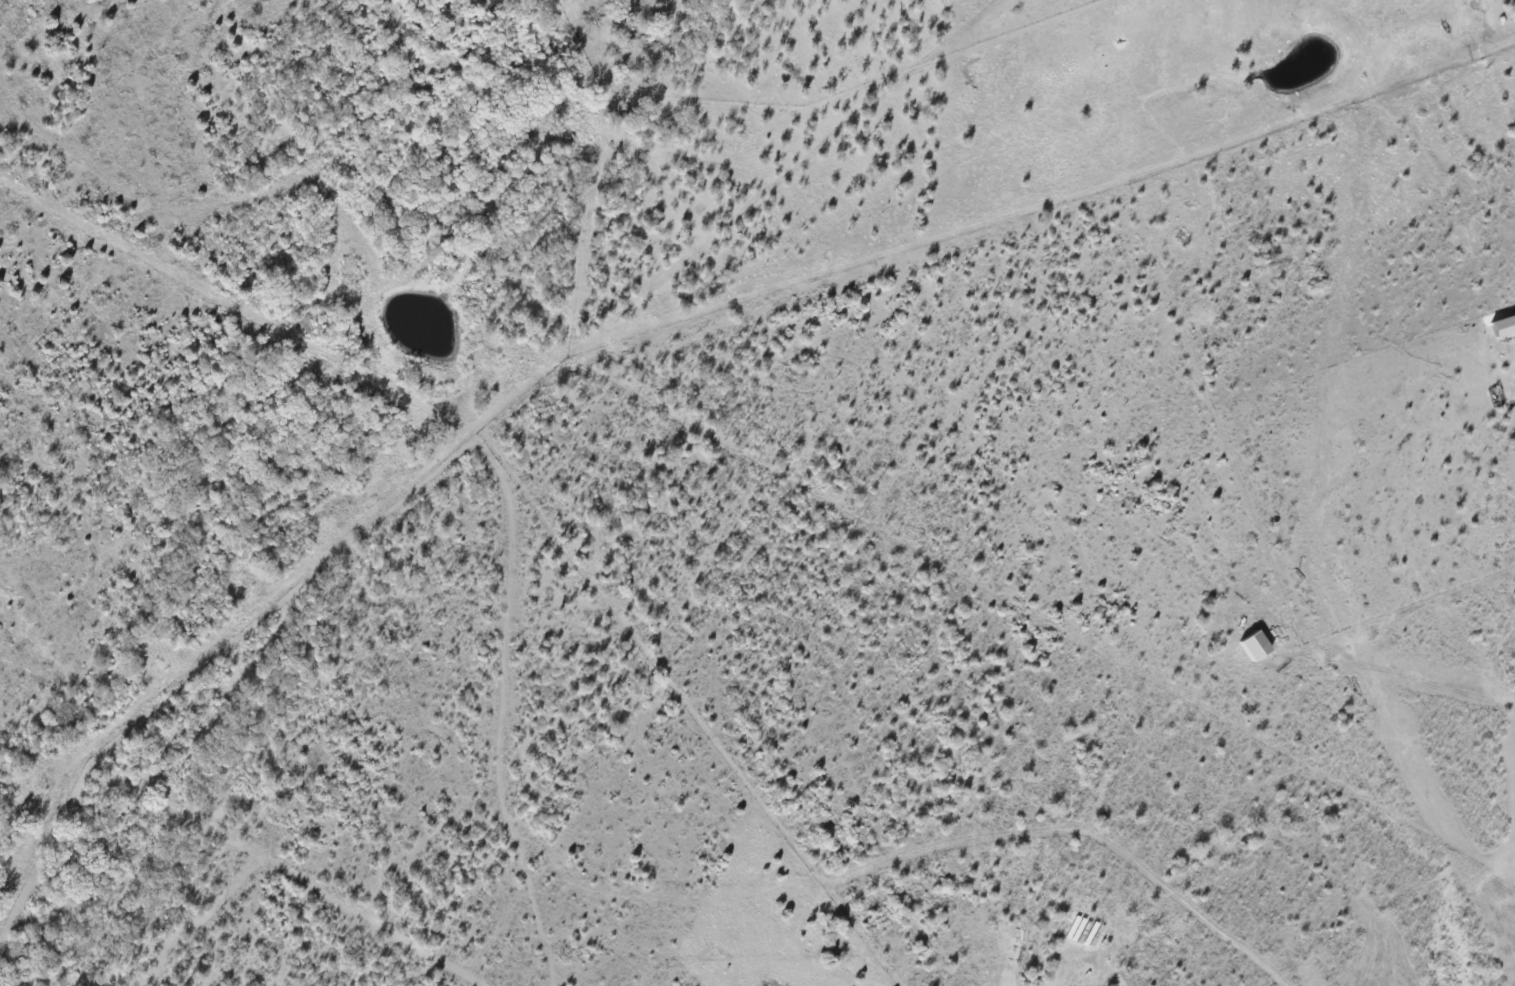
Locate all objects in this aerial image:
building: (1504, 325)
building: (1257, 645)

